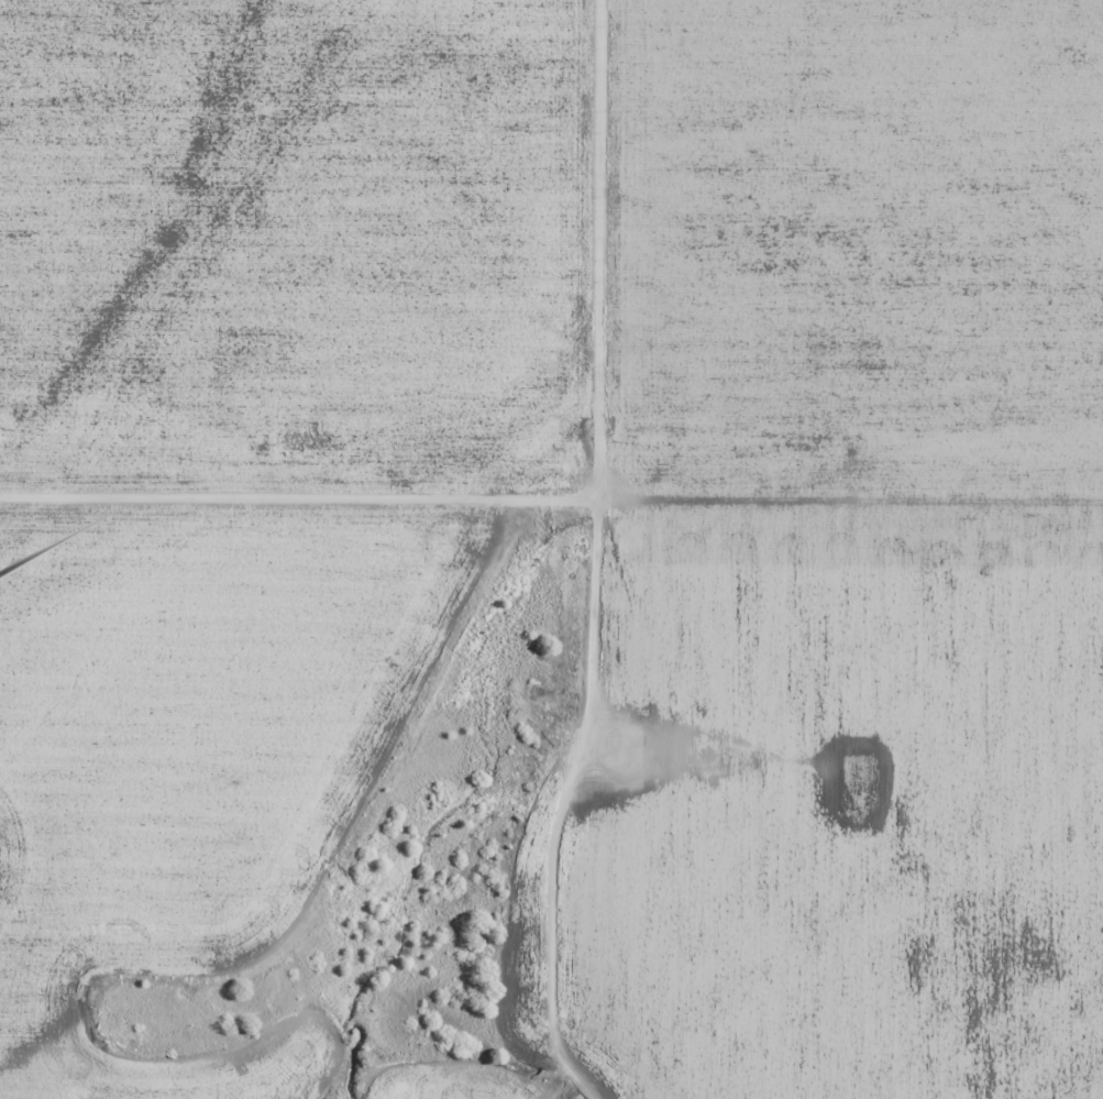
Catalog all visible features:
road: (607, 231)
road: (560, 493)
road: (382, 800)

